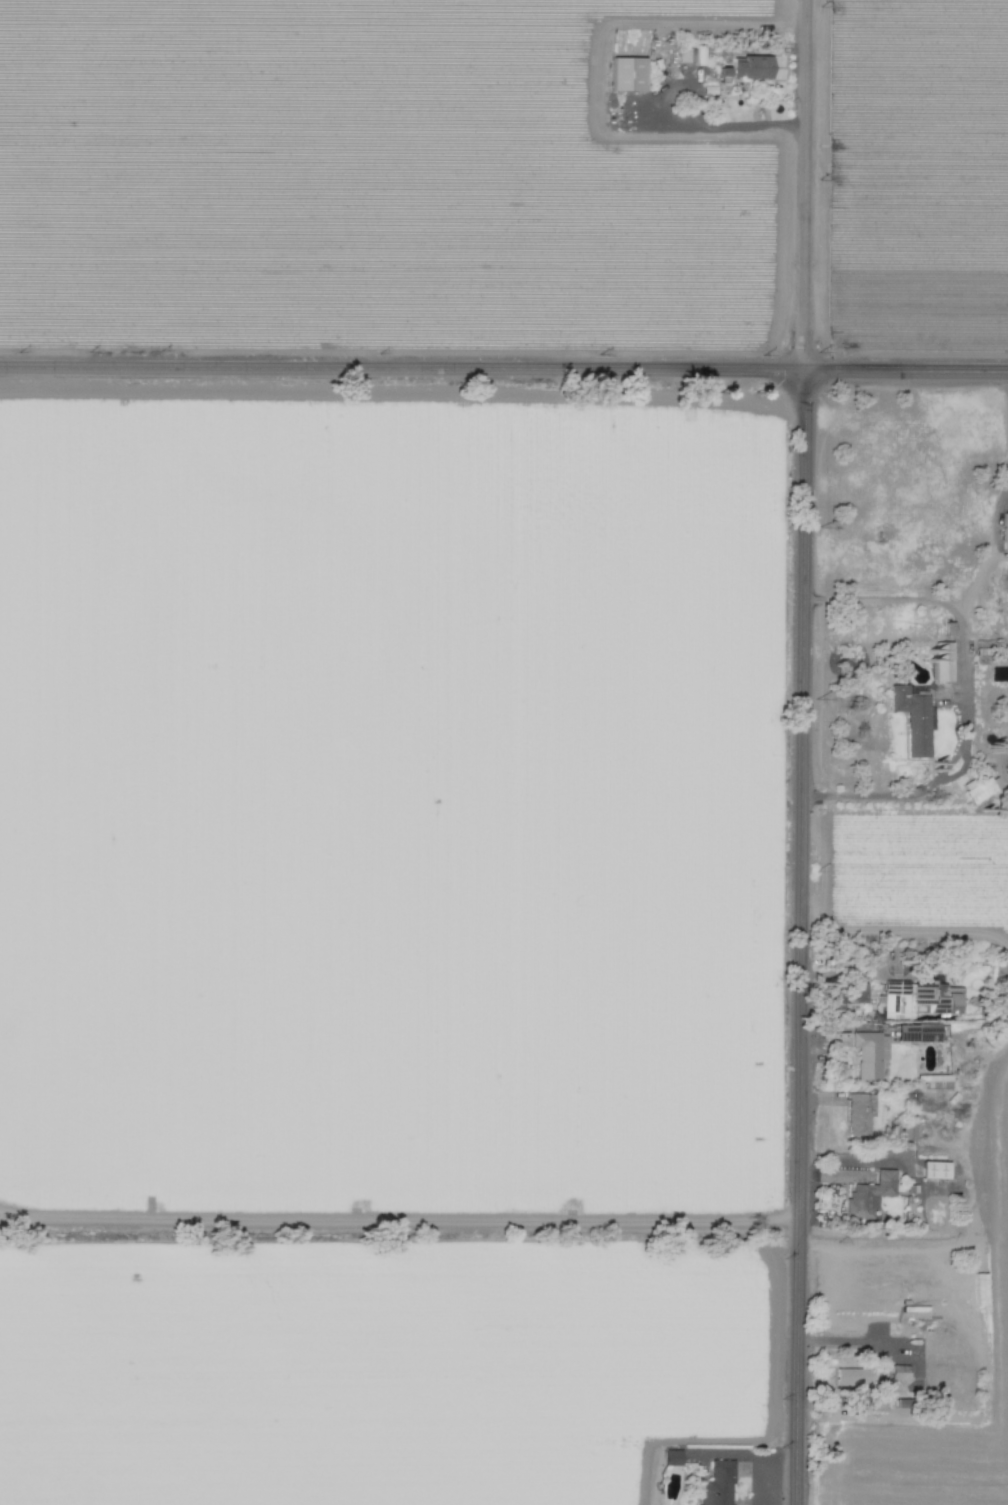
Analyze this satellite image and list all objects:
building: (686, 54)
building: (748, 68)
building: (629, 73)
road: (722, 127)
road: (504, 371)
building: (1006, 533)
building: (945, 662)
road: (965, 691)
building: (914, 719)
road: (804, 752)
building: (980, 789)
building: (921, 999)
building: (920, 1033)
building: (871, 1054)
building: (934, 1081)
building: (859, 1112)
building: (910, 1131)
building: (937, 1170)
building: (871, 1195)
building: (900, 1373)
building: (852, 1377)
building: (674, 1458)
building: (718, 1485)

